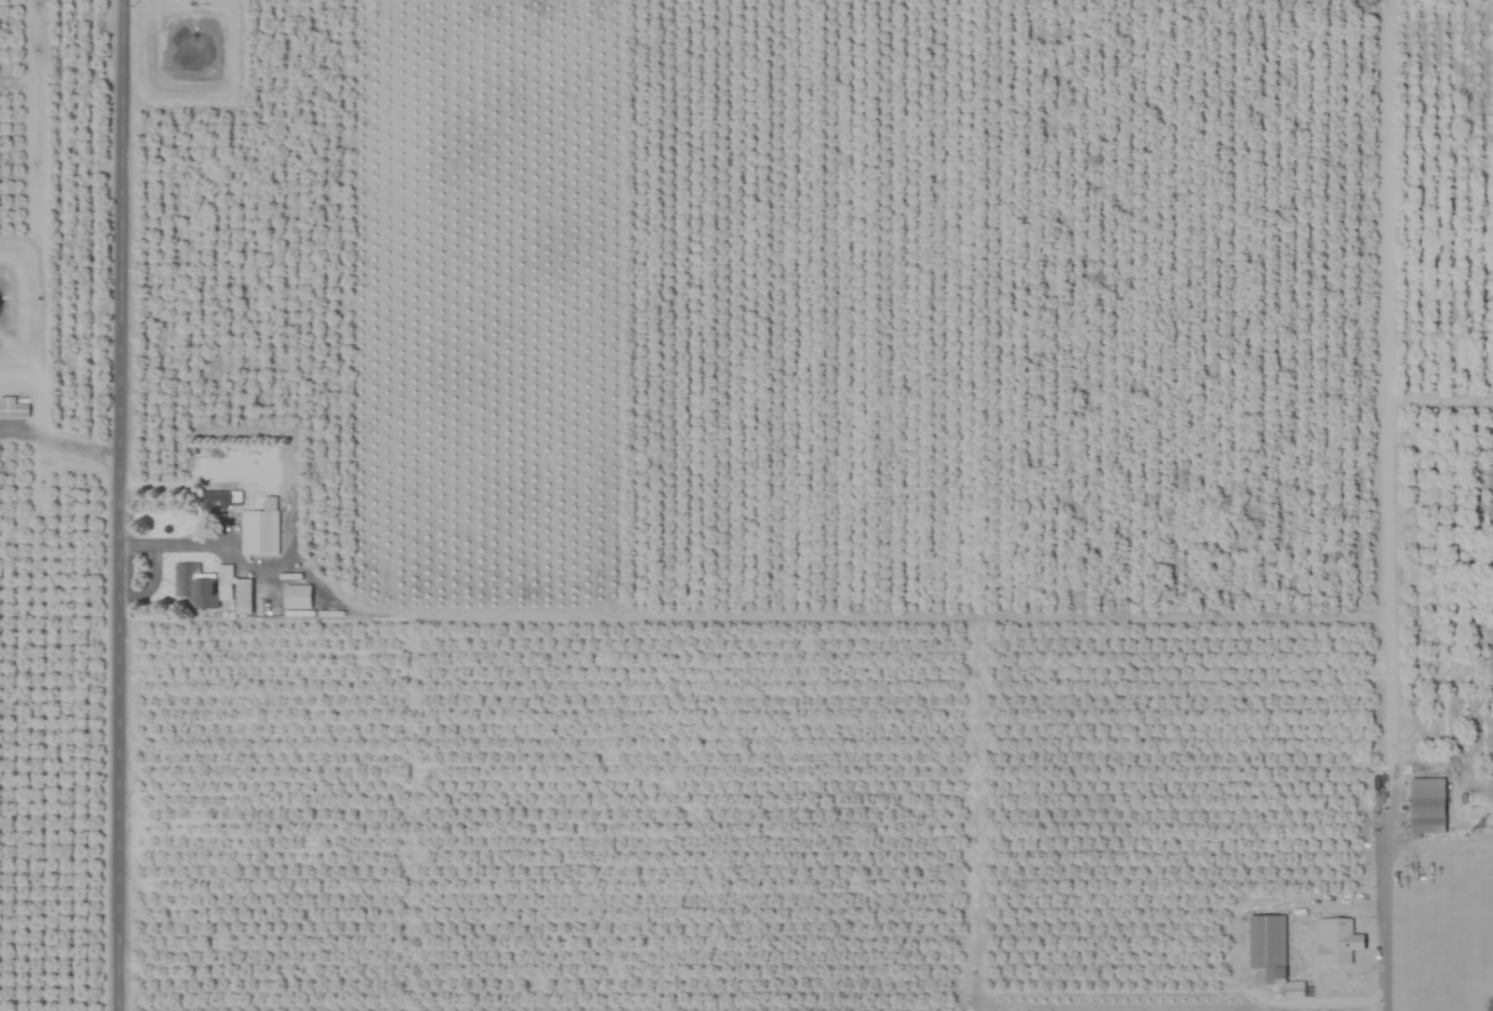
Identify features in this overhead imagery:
building: (12, 409)
road: (62, 441)
building: (220, 500)
road: (124, 505)
building: (258, 533)
road: (179, 543)
road: (151, 579)
building: (194, 586)
building: (297, 597)
building: (1427, 807)
building: (1335, 944)
building: (1268, 946)
road: (1391, 949)

